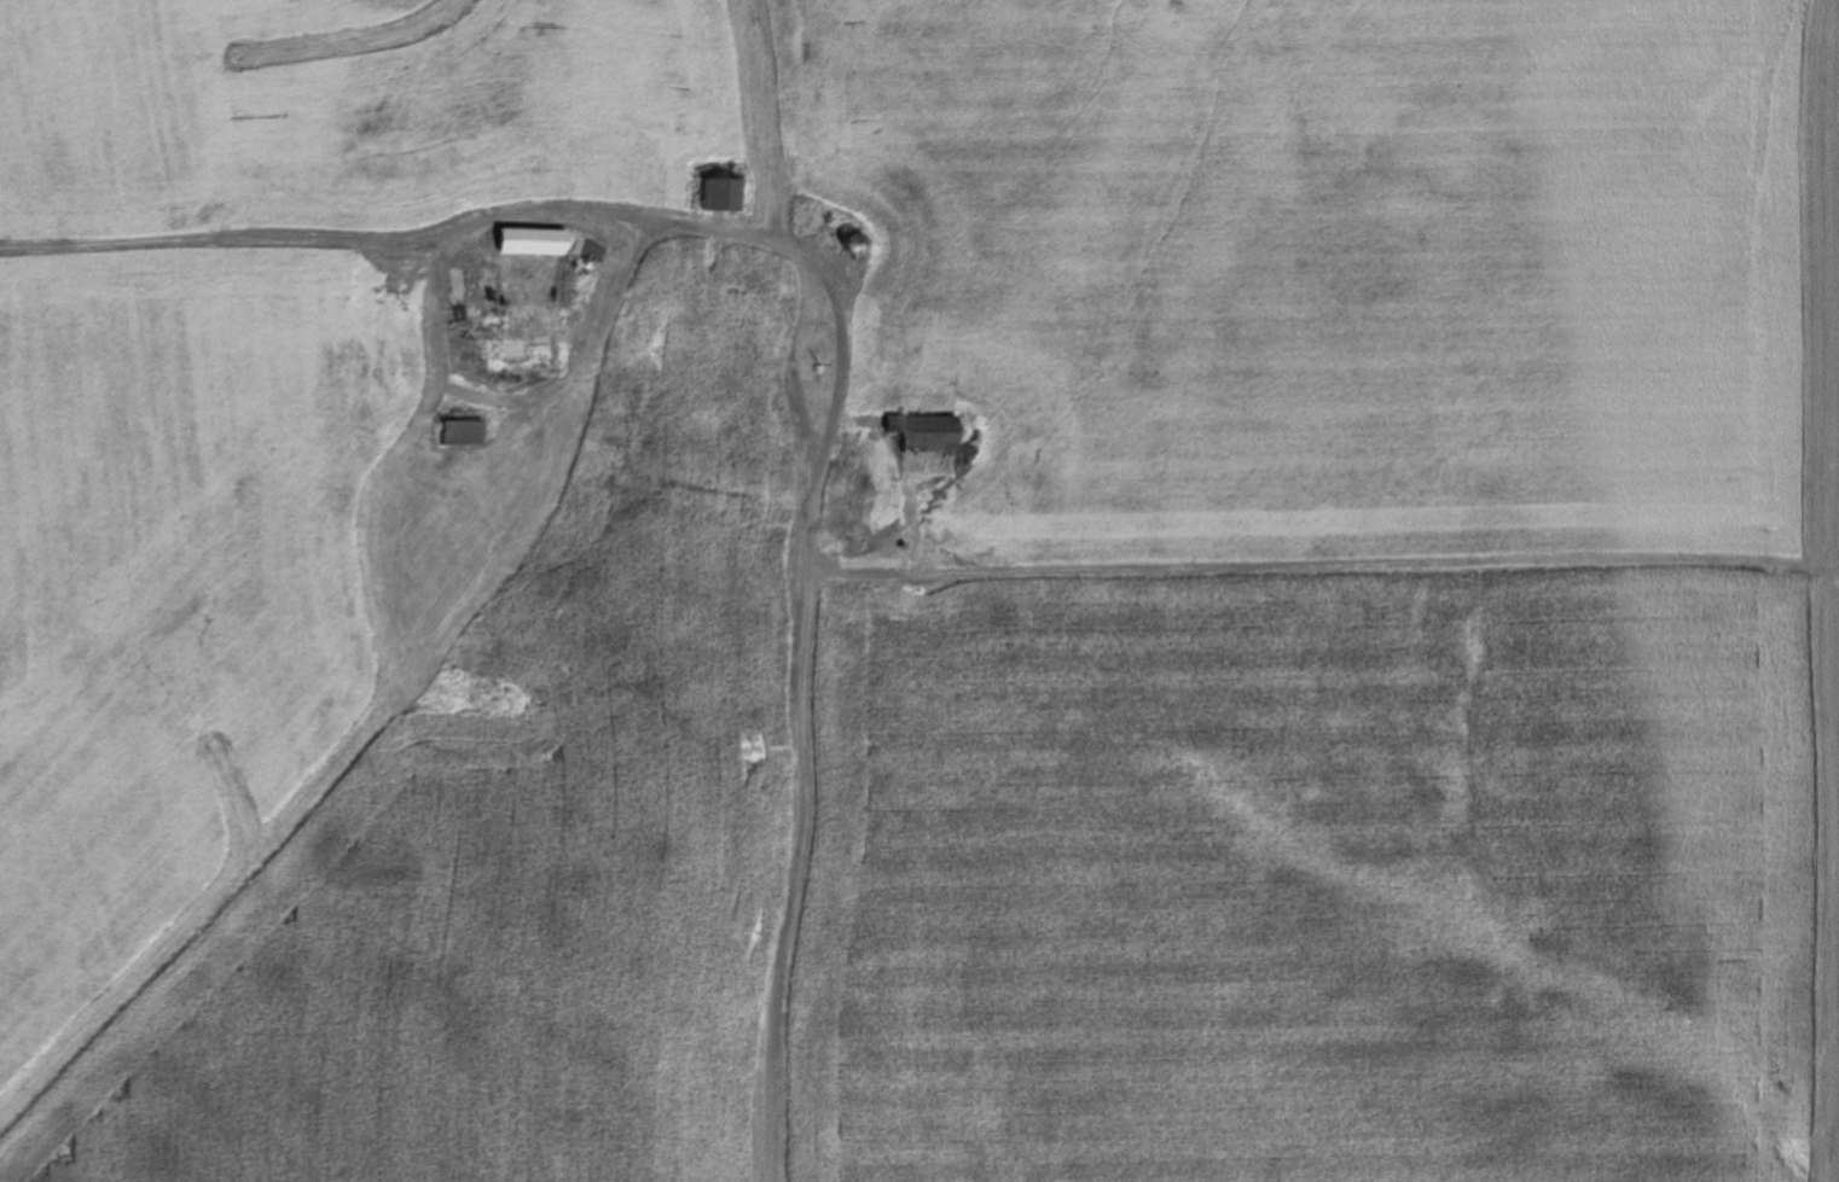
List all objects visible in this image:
building: (708, 196)
building: (810, 222)
road: (271, 244)
building: (534, 249)
road: (602, 318)
building: (923, 431)
road: (1322, 564)
road: (804, 581)

